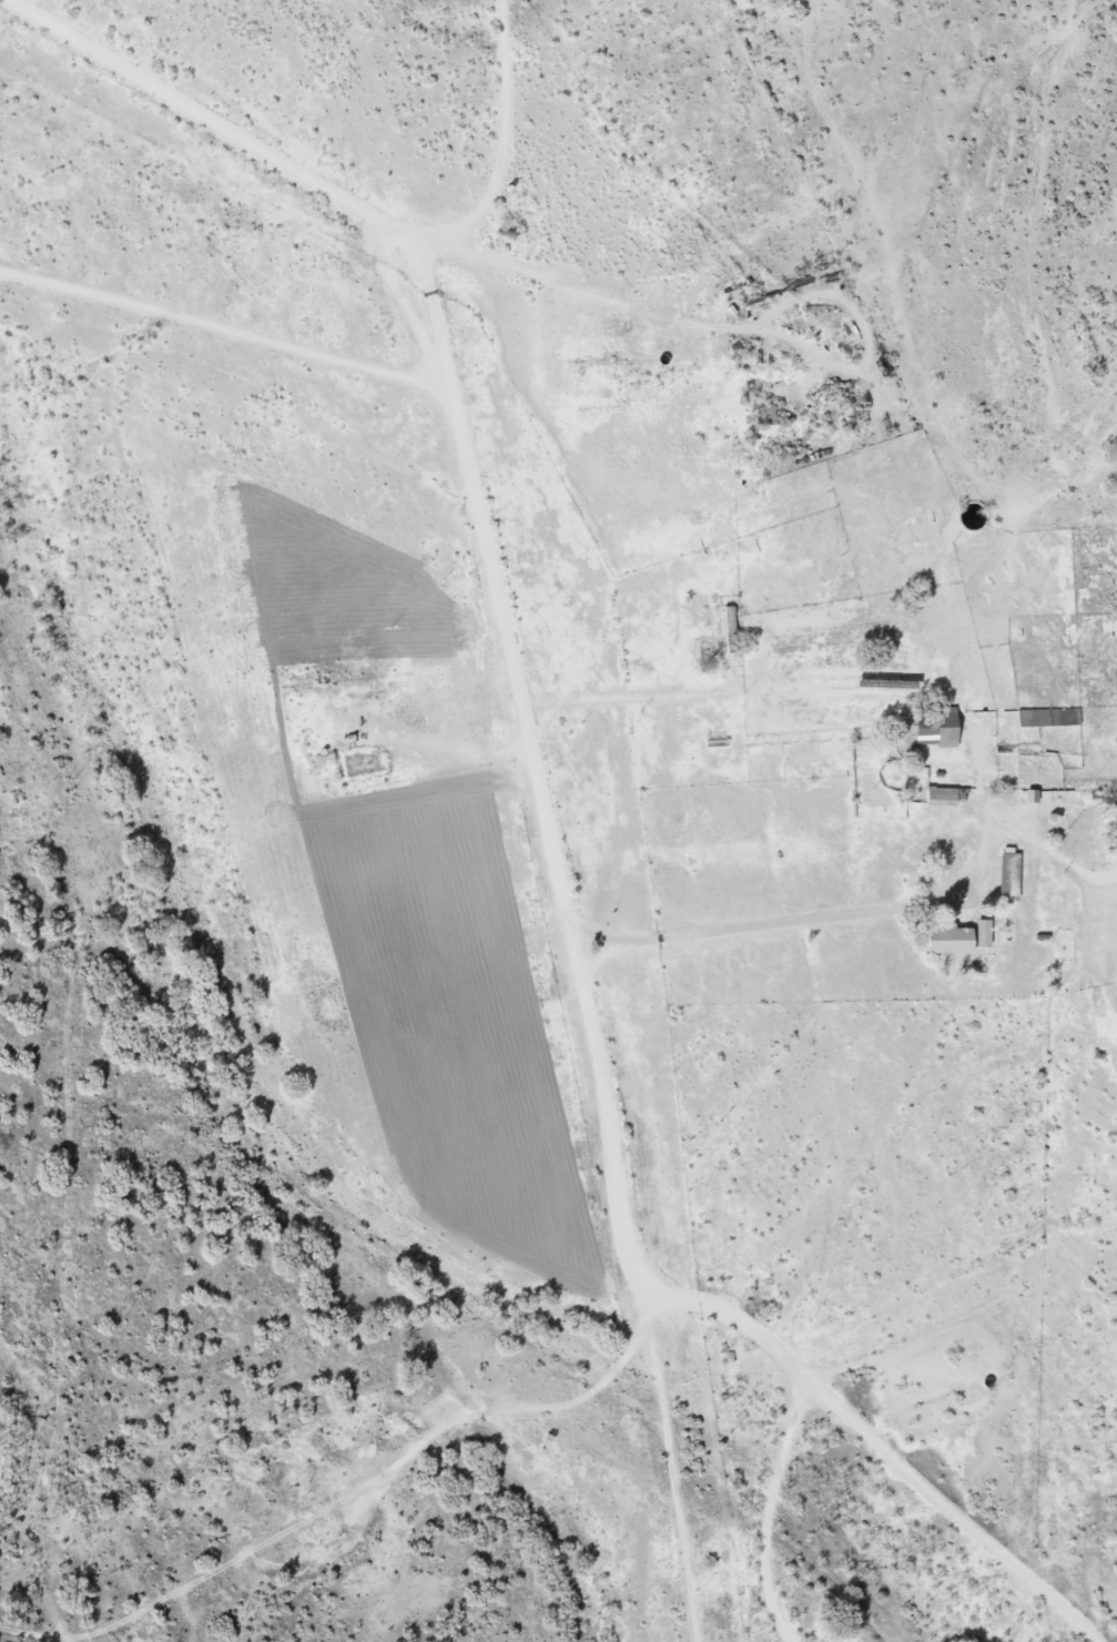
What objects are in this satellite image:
road: (532, 143)
road: (522, 296)
road: (1014, 351)
road: (231, 399)
building: (730, 629)
building: (938, 729)
road: (982, 766)
building: (944, 794)
road: (544, 848)
building: (1012, 875)
building: (953, 939)
road: (826, 1143)
road: (552, 1397)
road: (682, 1461)
road: (946, 1486)
road: (755, 1492)

